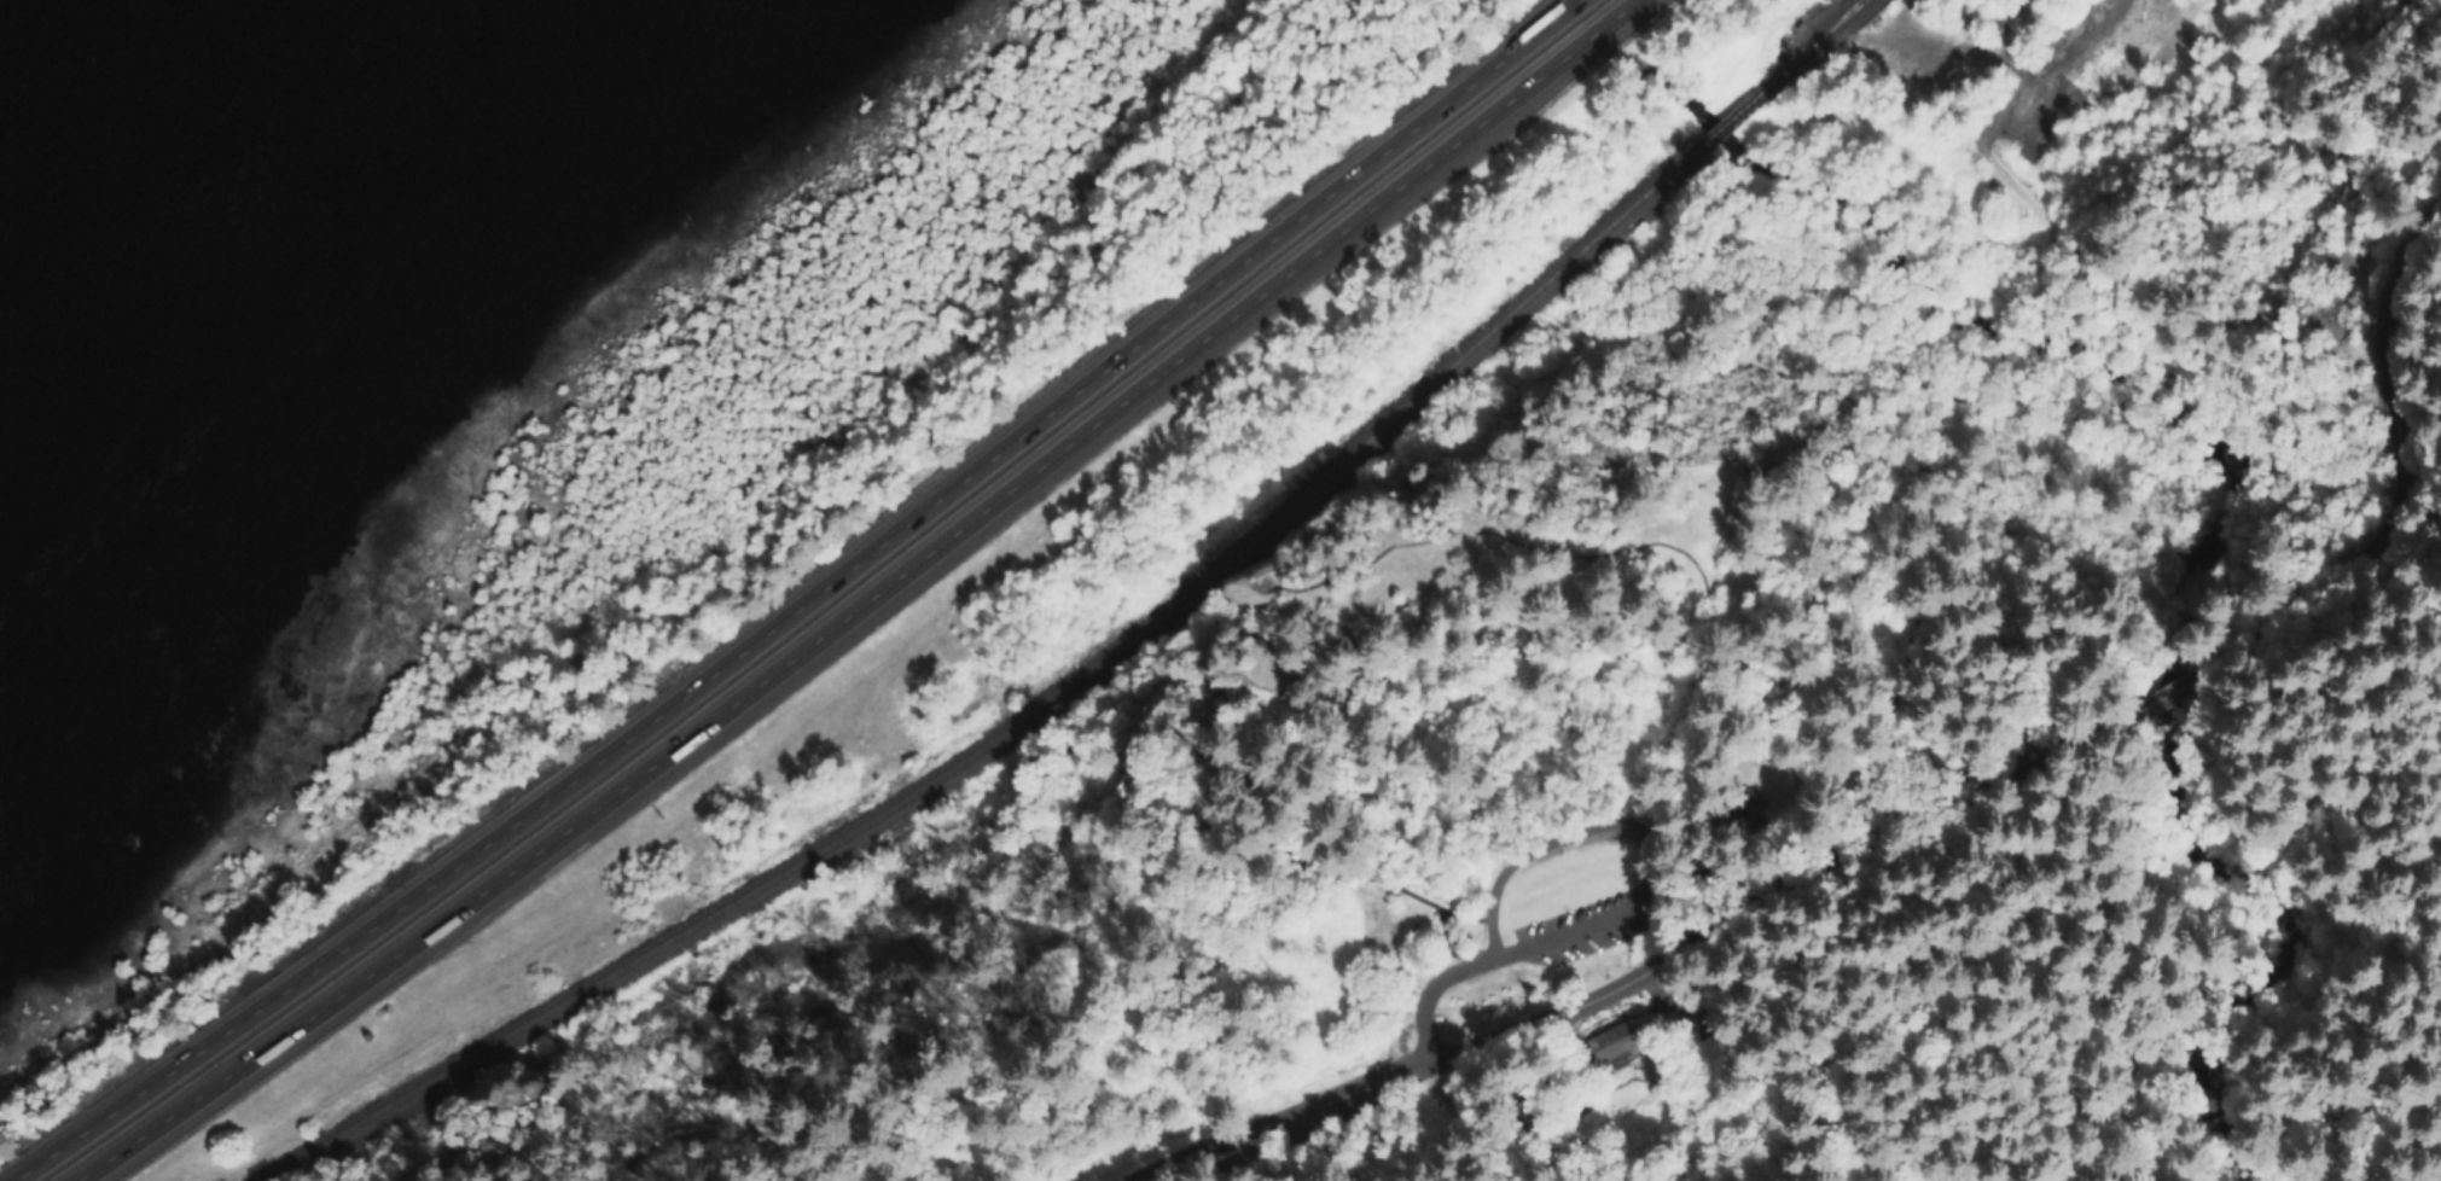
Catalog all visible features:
road: (1896, 21)
railway: (1823, 35)
railway: (1815, 46)
road: (1953, 52)
railway: (1734, 120)
road: (1993, 162)
road: (1940, 377)
road: (2156, 386)
road: (2075, 394)
road: (2140, 394)
road: (2406, 470)
road: (1948, 554)
road: (1256, 599)
road: (859, 604)
road: (804, 606)
road: (2178, 700)
railway: (1030, 719)
road: (1663, 840)
parking lot: (1589, 926)
road: (1646, 976)
road: (1429, 995)
building: (1611, 1042)

